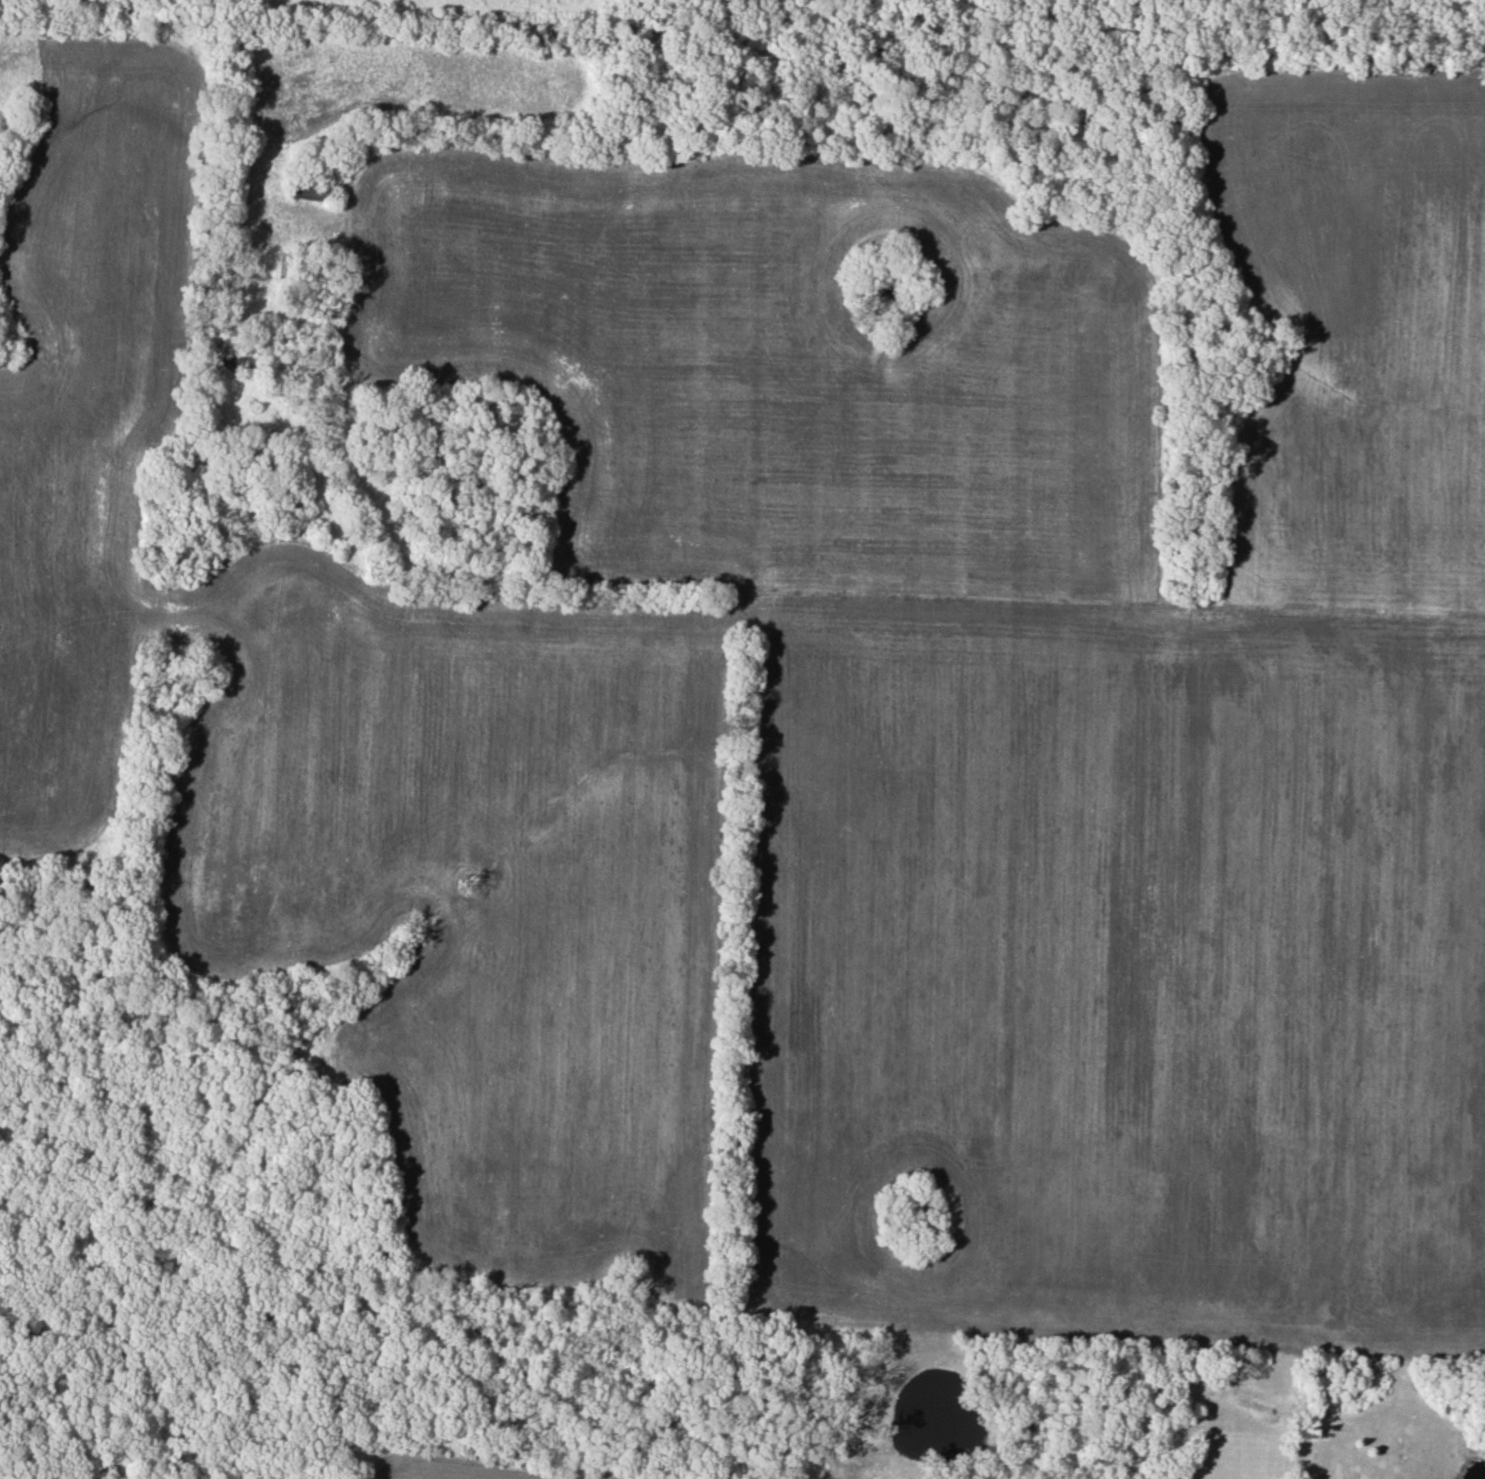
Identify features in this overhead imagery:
park: (1083, 16)
crop: (1028, 671)
crop: (357, 750)
crop: (484, 1468)
crop: (112, 1477)

